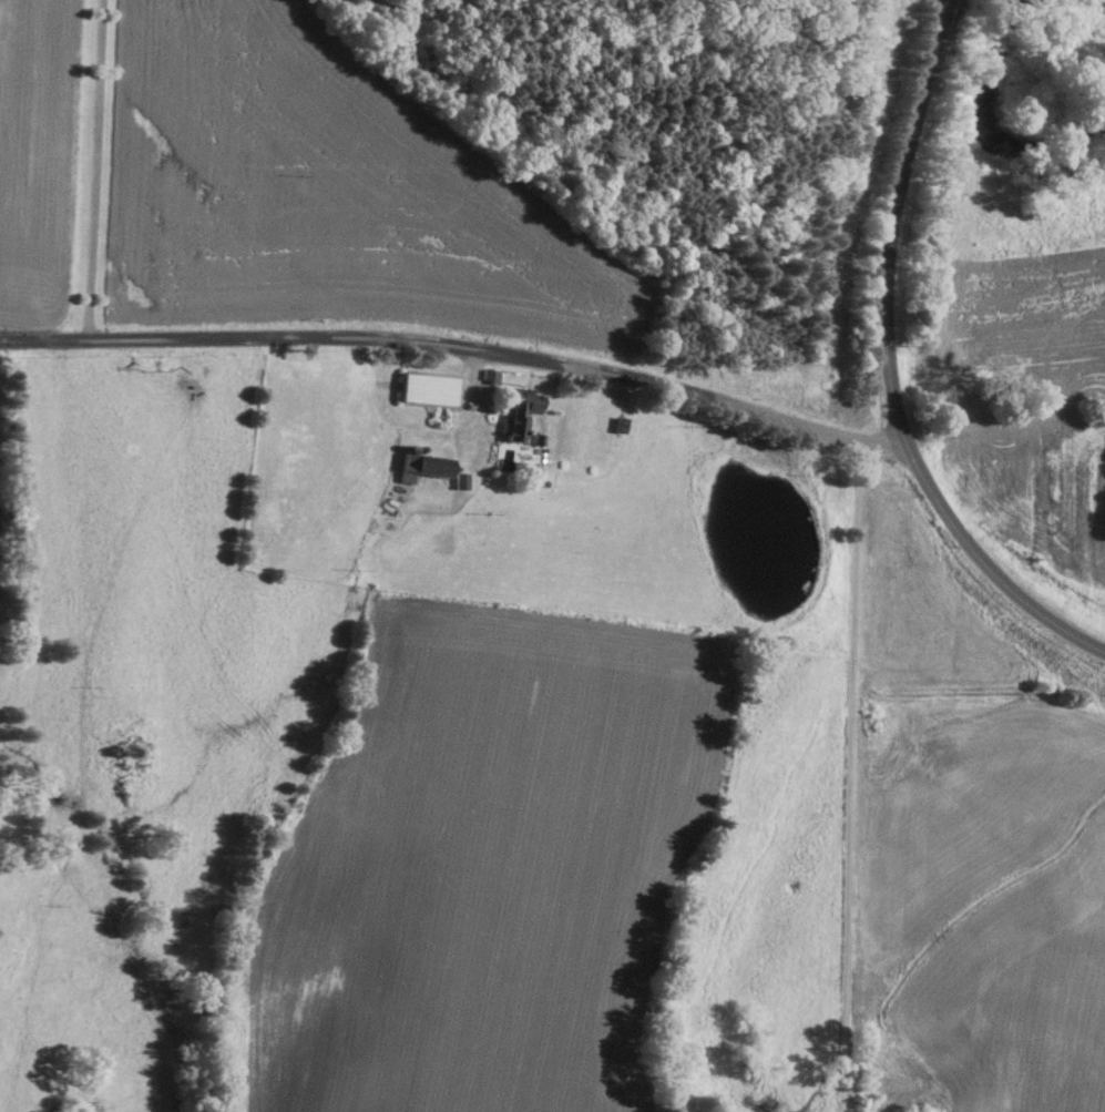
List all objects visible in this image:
river: (991, 134)
road: (456, 353)
road: (889, 367)
building: (426, 394)
building: (516, 416)
building: (616, 429)
building: (422, 469)
road: (852, 781)

